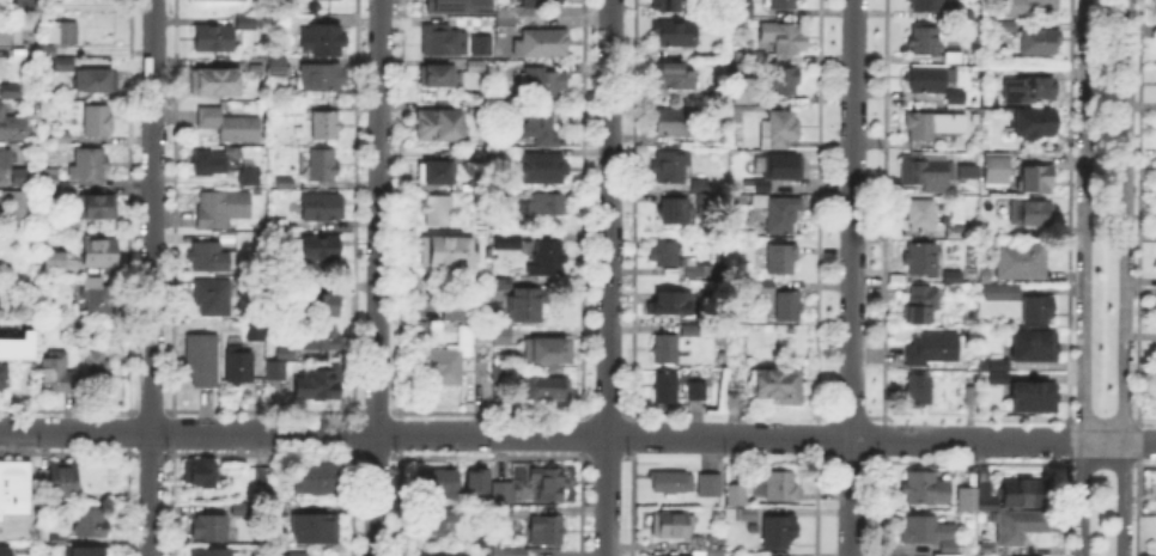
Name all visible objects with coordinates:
building: (537, 2)
building: (783, 4)
building: (460, 6)
building: (670, 6)
building: (925, 6)
building: (1030, 7)
building: (741, 8)
building: (278, 13)
building: (956, 14)
building: (243, 19)
building: (506, 19)
building: (1008, 28)
building: (65, 35)
building: (675, 35)
building: (209, 36)
building: (12, 38)
building: (787, 41)
building: (322, 42)
building: (443, 42)
building: (925, 42)
building: (542, 44)
building: (1039, 44)
building: (482, 47)
building: (954, 59)
building: (63, 66)
building: (476, 67)
building: (278, 68)
building: (440, 74)
building: (673, 78)
building: (322, 79)
building: (929, 80)
building: (96, 81)
building: (214, 81)
building: (783, 83)
building: (542, 85)
building: (743, 88)
building: (1035, 88)
building: (11, 92)
building: (719, 94)
building: (956, 99)
building: (293, 106)
building: (476, 109)
building: (98, 121)
building: (676, 122)
building: (542, 123)
building: (11, 124)
building: (442, 124)
building: (230, 126)
building: (920, 126)
building: (1036, 126)
building: (325, 128)
building: (780, 130)
building: (718, 136)
building: (61, 139)
building: (547, 140)
building: (947, 145)
building: (513, 151)
building: (6, 159)
building: (90, 165)
building: (211, 165)
building: (323, 167)
building: (670, 167)
building: (784, 169)
building: (962, 169)
building: (998, 169)
building: (539, 170)
building: (1155, 172)
building: (926, 173)
building: (250, 175)
building: (437, 175)
building: (25, 178)
building: (50, 178)
building: (284, 181)
building: (1035, 181)
building: (701, 187)
building: (765, 187)
building: (700, 202)
building: (12, 204)
building: (547, 204)
park: (1103, 206)
building: (432, 207)
building: (97, 208)
building: (323, 208)
building: (223, 209)
building: (677, 212)
building: (1032, 213)
building: (780, 214)
building: (930, 220)
building: (285, 224)
building: (507, 243)
building: (317, 245)
building: (444, 250)
building: (98, 252)
building: (667, 255)
building: (211, 258)
building: (548, 258)
building: (1022, 259)
building: (781, 261)
building: (923, 261)
building: (55, 263)
building: (695, 267)
building: (0, 269)
building: (986, 276)
road: (151, 277)
road: (377, 277)
road: (608, 277)
road: (851, 277)
road: (1082, 277)
road: (1124, 277)
building: (954, 279)
building: (501, 283)
building: (763, 288)
building: (1003, 292)
building: (93, 297)
building: (213, 298)
building: (923, 304)
building: (321, 305)
building: (527, 305)
building: (674, 305)
building: (789, 307)
building: (450, 308)
building: (1042, 308)
building: (690, 330)
building: (257, 332)
building: (483, 334)
building: (974, 334)
building: (321, 335)
building: (503, 337)
building: (14, 344)
building: (1030, 344)
building: (665, 349)
building: (933, 349)
building: (285, 353)
building: (548, 353)
building: (202, 360)
building: (994, 362)
building: (98, 363)
building: (239, 365)
building: (444, 366)
building: (276, 371)
building: (57, 373)
building: (994, 375)
building: (2, 377)
building: (318, 385)
building: (780, 386)
building: (542, 389)
building: (665, 389)
building: (698, 392)
building: (920, 392)
building: (1030, 395)
building: (973, 396)
building: (730, 401)
road: (303, 433)
road: (729, 438)
road: (909, 439)
road: (1061, 439)
building: (200, 476)
building: (264, 476)
building: (473, 478)
building: (61, 481)
building: (318, 481)
building: (436, 483)
building: (671, 484)
building: (552, 485)
building: (711, 487)
building: (14, 488)
building: (781, 488)
building: (926, 489)
building: (504, 493)
building: (1026, 494)
building: (737, 496)
building: (963, 496)
building: (982, 496)
building: (243, 509)
building: (276, 511)
building: (504, 512)
park: (1101, 513)
building: (719, 514)
building: (748, 515)
building: (436, 521)
building: (92, 525)
building: (674, 526)
building: (1021, 527)
building: (317, 528)
building: (211, 530)
building: (548, 531)
building: (927, 531)
building: (780, 533)
building: (57, 538)
building: (708, 544)
building: (950, 546)
building: (984, 546)
building: (5, 552)
building: (87, 552)
building: (212, 552)
building: (511, 552)
building: (438, 554)
building: (299, 555)
building: (706, 555)

